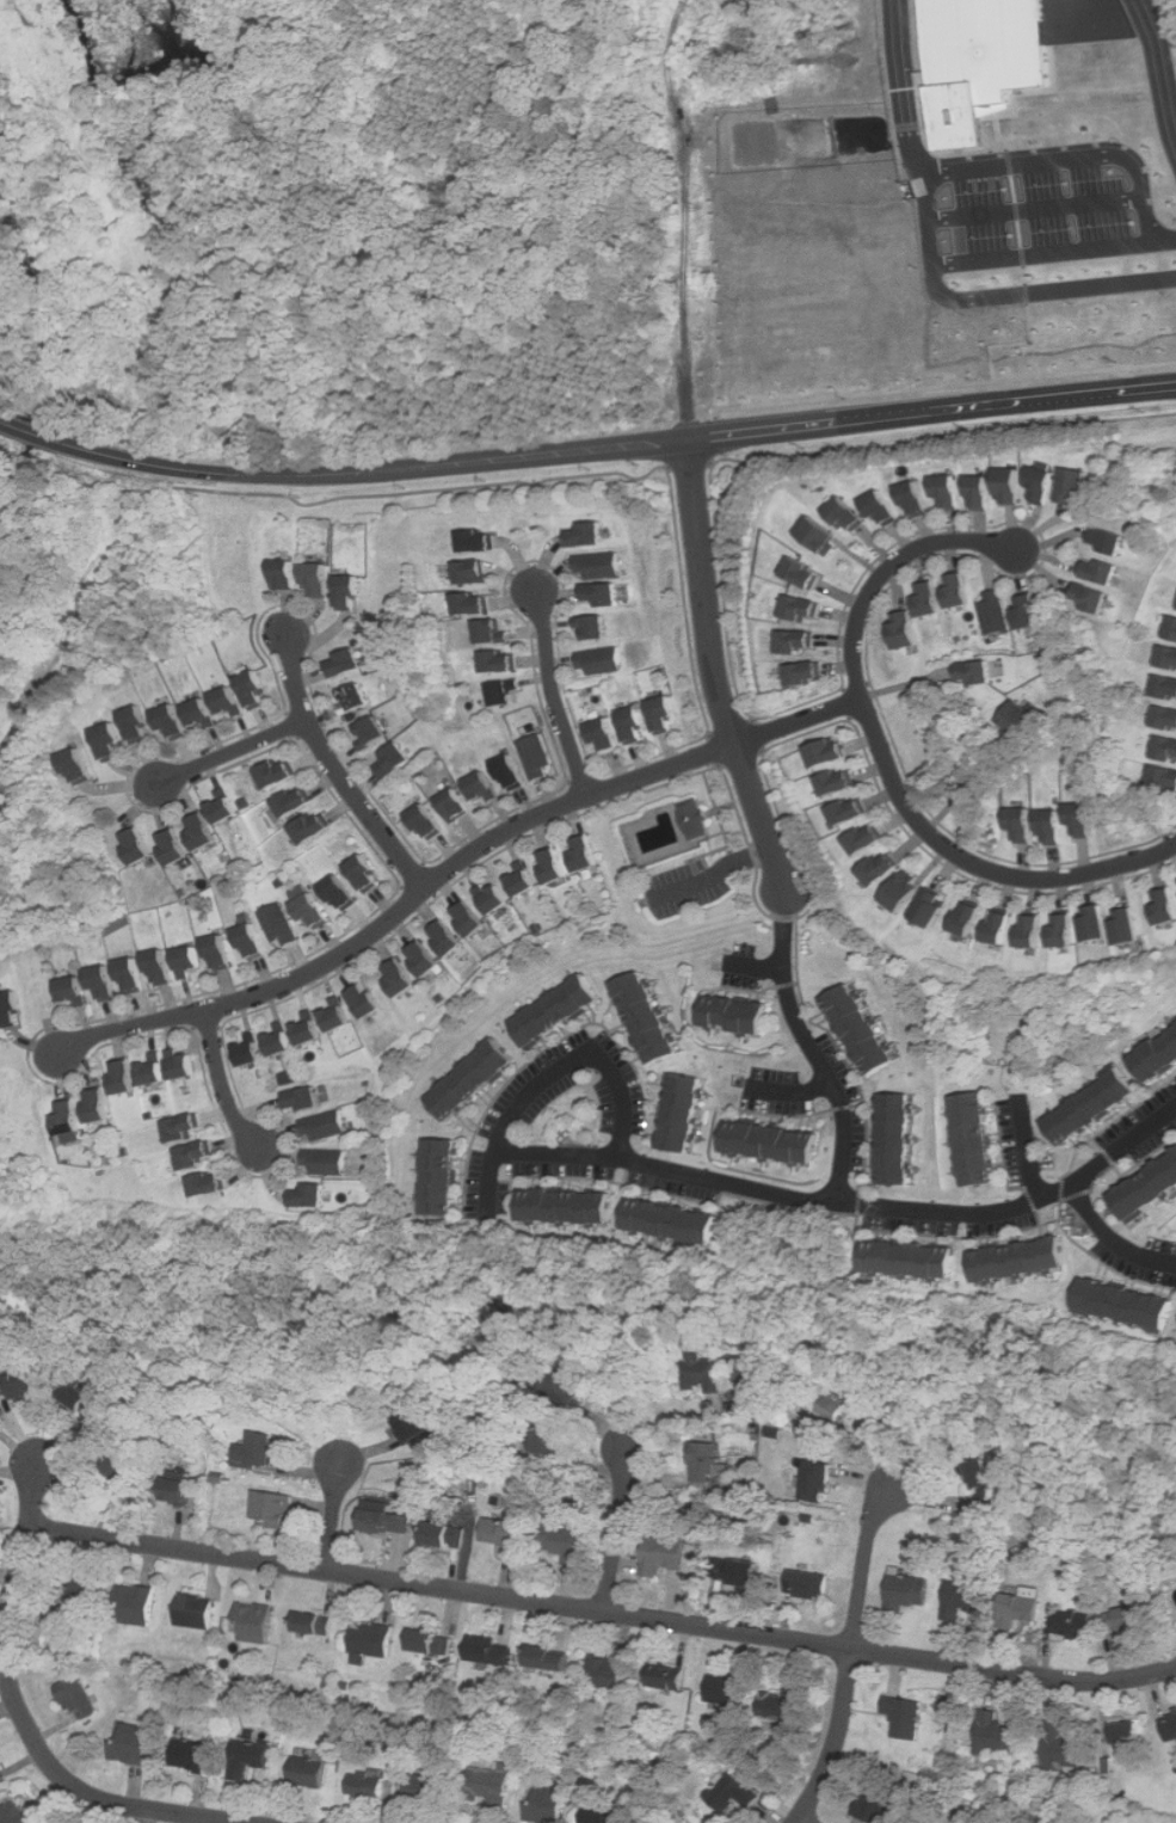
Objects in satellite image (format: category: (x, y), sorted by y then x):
building: (750, 4)
road: (1147, 21)
building: (981, 61)
road: (907, 82)
road: (1165, 84)
road: (1072, 150)
road: (1038, 209)
road: (683, 215)
road: (1053, 252)
road: (991, 297)
road: (2, 421)
road: (26, 430)
road: (610, 443)
building: (1042, 484)
building: (1011, 485)
building: (1075, 486)
building: (947, 491)
building: (983, 492)
building: (917, 498)
building: (885, 509)
building: (849, 515)
building: (821, 534)
building: (587, 535)
building: (1109, 540)
building: (482, 541)
building: (598, 566)
building: (1102, 571)
building: (476, 572)
building: (805, 572)
building: (290, 574)
building: (321, 578)
building: (954, 590)
building: (351, 592)
building: (602, 593)
building: (924, 597)
building: (1094, 597)
building: (475, 603)
building: (802, 608)
building: (1028, 611)
building: (995, 612)
building: (596, 628)
building: (1171, 628)
building: (905, 629)
building: (491, 632)
building: (798, 641)
building: (1169, 655)
building: (500, 661)
building: (599, 661)
building: (344, 665)
road: (714, 670)
building: (807, 672)
building: (975, 672)
building: (1165, 686)
building: (251, 689)
building: (505, 694)
road: (553, 696)
building: (353, 698)
building: (226, 701)
building: (197, 712)
building: (660, 713)
building: (1165, 716)
building: (1021, 718)
building: (170, 721)
building: (136, 723)
building: (629, 725)
building: (370, 732)
building: (601, 733)
building: (107, 741)
building: (1164, 749)
road: (229, 751)
building: (829, 752)
building: (537, 757)
building: (392, 760)
road: (885, 763)
building: (75, 766)
building: (509, 771)
building: (276, 774)
road: (335, 774)
road: (875, 778)
building: (1162, 780)
building: (839, 782)
building: (481, 787)
road: (963, 789)
building: (294, 802)
building: (454, 805)
building: (222, 809)
building: (851, 811)
building: (694, 818)
building: (1077, 818)
building: (425, 821)
building: (1018, 823)
building: (1048, 824)
building: (310, 829)
building: (201, 831)
building: (868, 839)
building: (140, 845)
building: (174, 846)
building: (587, 852)
building: (553, 866)
road: (451, 867)
building: (883, 869)
building: (365, 874)
road: (714, 875)
building: (523, 879)
building: (340, 893)
building: (905, 893)
building: (495, 898)
building: (1163, 905)
building: (934, 907)
building: (314, 912)
building: (470, 918)
building: (971, 918)
building: (1098, 923)
building: (281, 924)
building: (1002, 926)
building: (1129, 926)
building: (1066, 930)
building: (1034, 931)
building: (448, 937)
building: (253, 942)
building: (221, 953)
building: (425, 959)
building: (189, 960)
road: (756, 967)
building: (160, 968)
building: (133, 975)
building: (401, 978)
building: (101, 984)
building: (72, 990)
building: (368, 999)
building: (13, 1009)
building: (560, 1010)
building: (339, 1014)
building: (740, 1014)
building: (648, 1017)
building: (309, 1028)
building: (860, 1029)
building: (282, 1039)
building: (251, 1051)
road: (813, 1051)
building: (1156, 1053)
building: (183, 1064)
building: (154, 1070)
road: (552, 1072)
building: (127, 1076)
building: (474, 1078)
road: (222, 1084)
road: (790, 1090)
building: (324, 1094)
building: (303, 1098)
building: (101, 1105)
building: (1090, 1105)
building: (685, 1111)
building: (73, 1117)
building: (326, 1126)
building: (187, 1127)
building: (898, 1138)
building: (979, 1138)
building: (775, 1141)
road: (1029, 1147)
building: (201, 1154)
building: (328, 1162)
road: (667, 1166)
building: (444, 1176)
building: (214, 1184)
building: (1149, 1188)
building: (314, 1196)
building: (571, 1206)
road: (1020, 1207)
building: (677, 1221)
road: (1112, 1242)
building: (913, 1258)
building: (1024, 1260)
building: (1125, 1305)
building: (706, 1372)
building: (21, 1380)
building: (566, 1386)
building: (87, 1402)
building: (837, 1408)
building: (414, 1425)
building: (550, 1443)
building: (257, 1448)
building: (707, 1459)
building: (119, 1474)
building: (819, 1482)
building: (984, 1483)
building: (180, 1490)
building: (405, 1505)
building: (273, 1508)
road: (332, 1516)
building: (387, 1522)
road: (615, 1531)
building: (445, 1534)
building: (506, 1535)
building: (566, 1542)
building: (664, 1556)
building: (738, 1571)
building: (809, 1584)
building: (907, 1591)
building: (86, 1593)
building: (1174, 1597)
building: (965, 1600)
building: (138, 1605)
building: (1023, 1607)
building: (197, 1610)
road: (602, 1610)
building: (1133, 1618)
building: (255, 1621)
building: (315, 1622)
building: (1075, 1624)
building: (371, 1642)
building: (431, 1642)
building: (491, 1650)
road: (849, 1656)
building: (550, 1658)
building: (610, 1674)
building: (669, 1676)
building: (727, 1689)
building: (79, 1699)
building: (786, 1705)
road: (21, 1717)
building: (905, 1717)
building: (1170, 1725)
building: (1129, 1732)
building: (998, 1735)
building: (135, 1744)
building: (1066, 1747)
building: (192, 1755)
building: (251, 1757)
building: (312, 1773)
building: (1, 1776)
building: (368, 1785)
building: (491, 1788)
building: (430, 1791)
building: (734, 1793)
building: (878, 1802)
building: (548, 1804)
building: (20, 1813)
building: (603, 1816)
road: (804, 1819)

